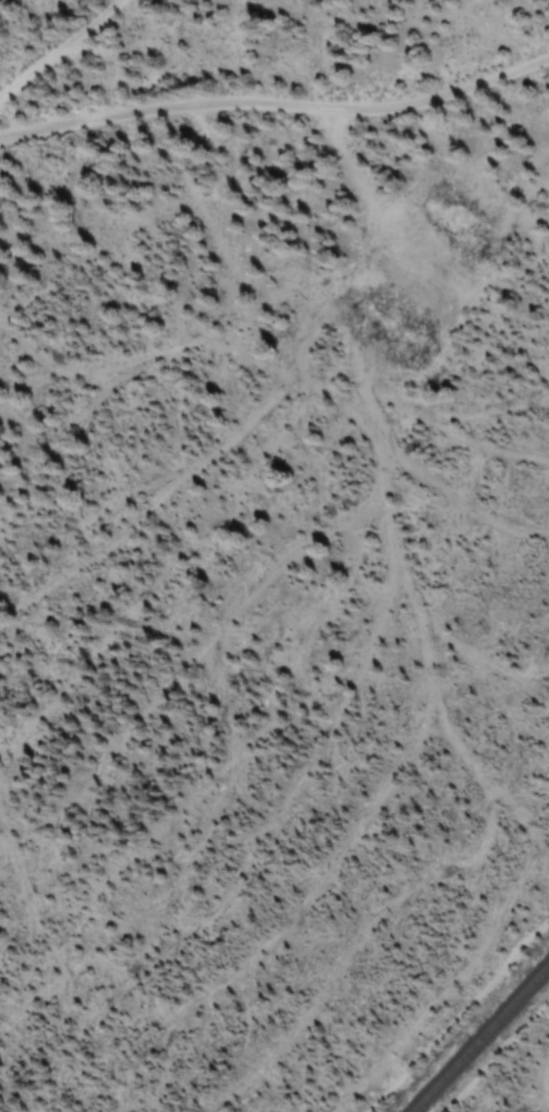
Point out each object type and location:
road: (64, 58)
road: (277, 114)
road: (460, 1015)
railway: (481, 1039)

